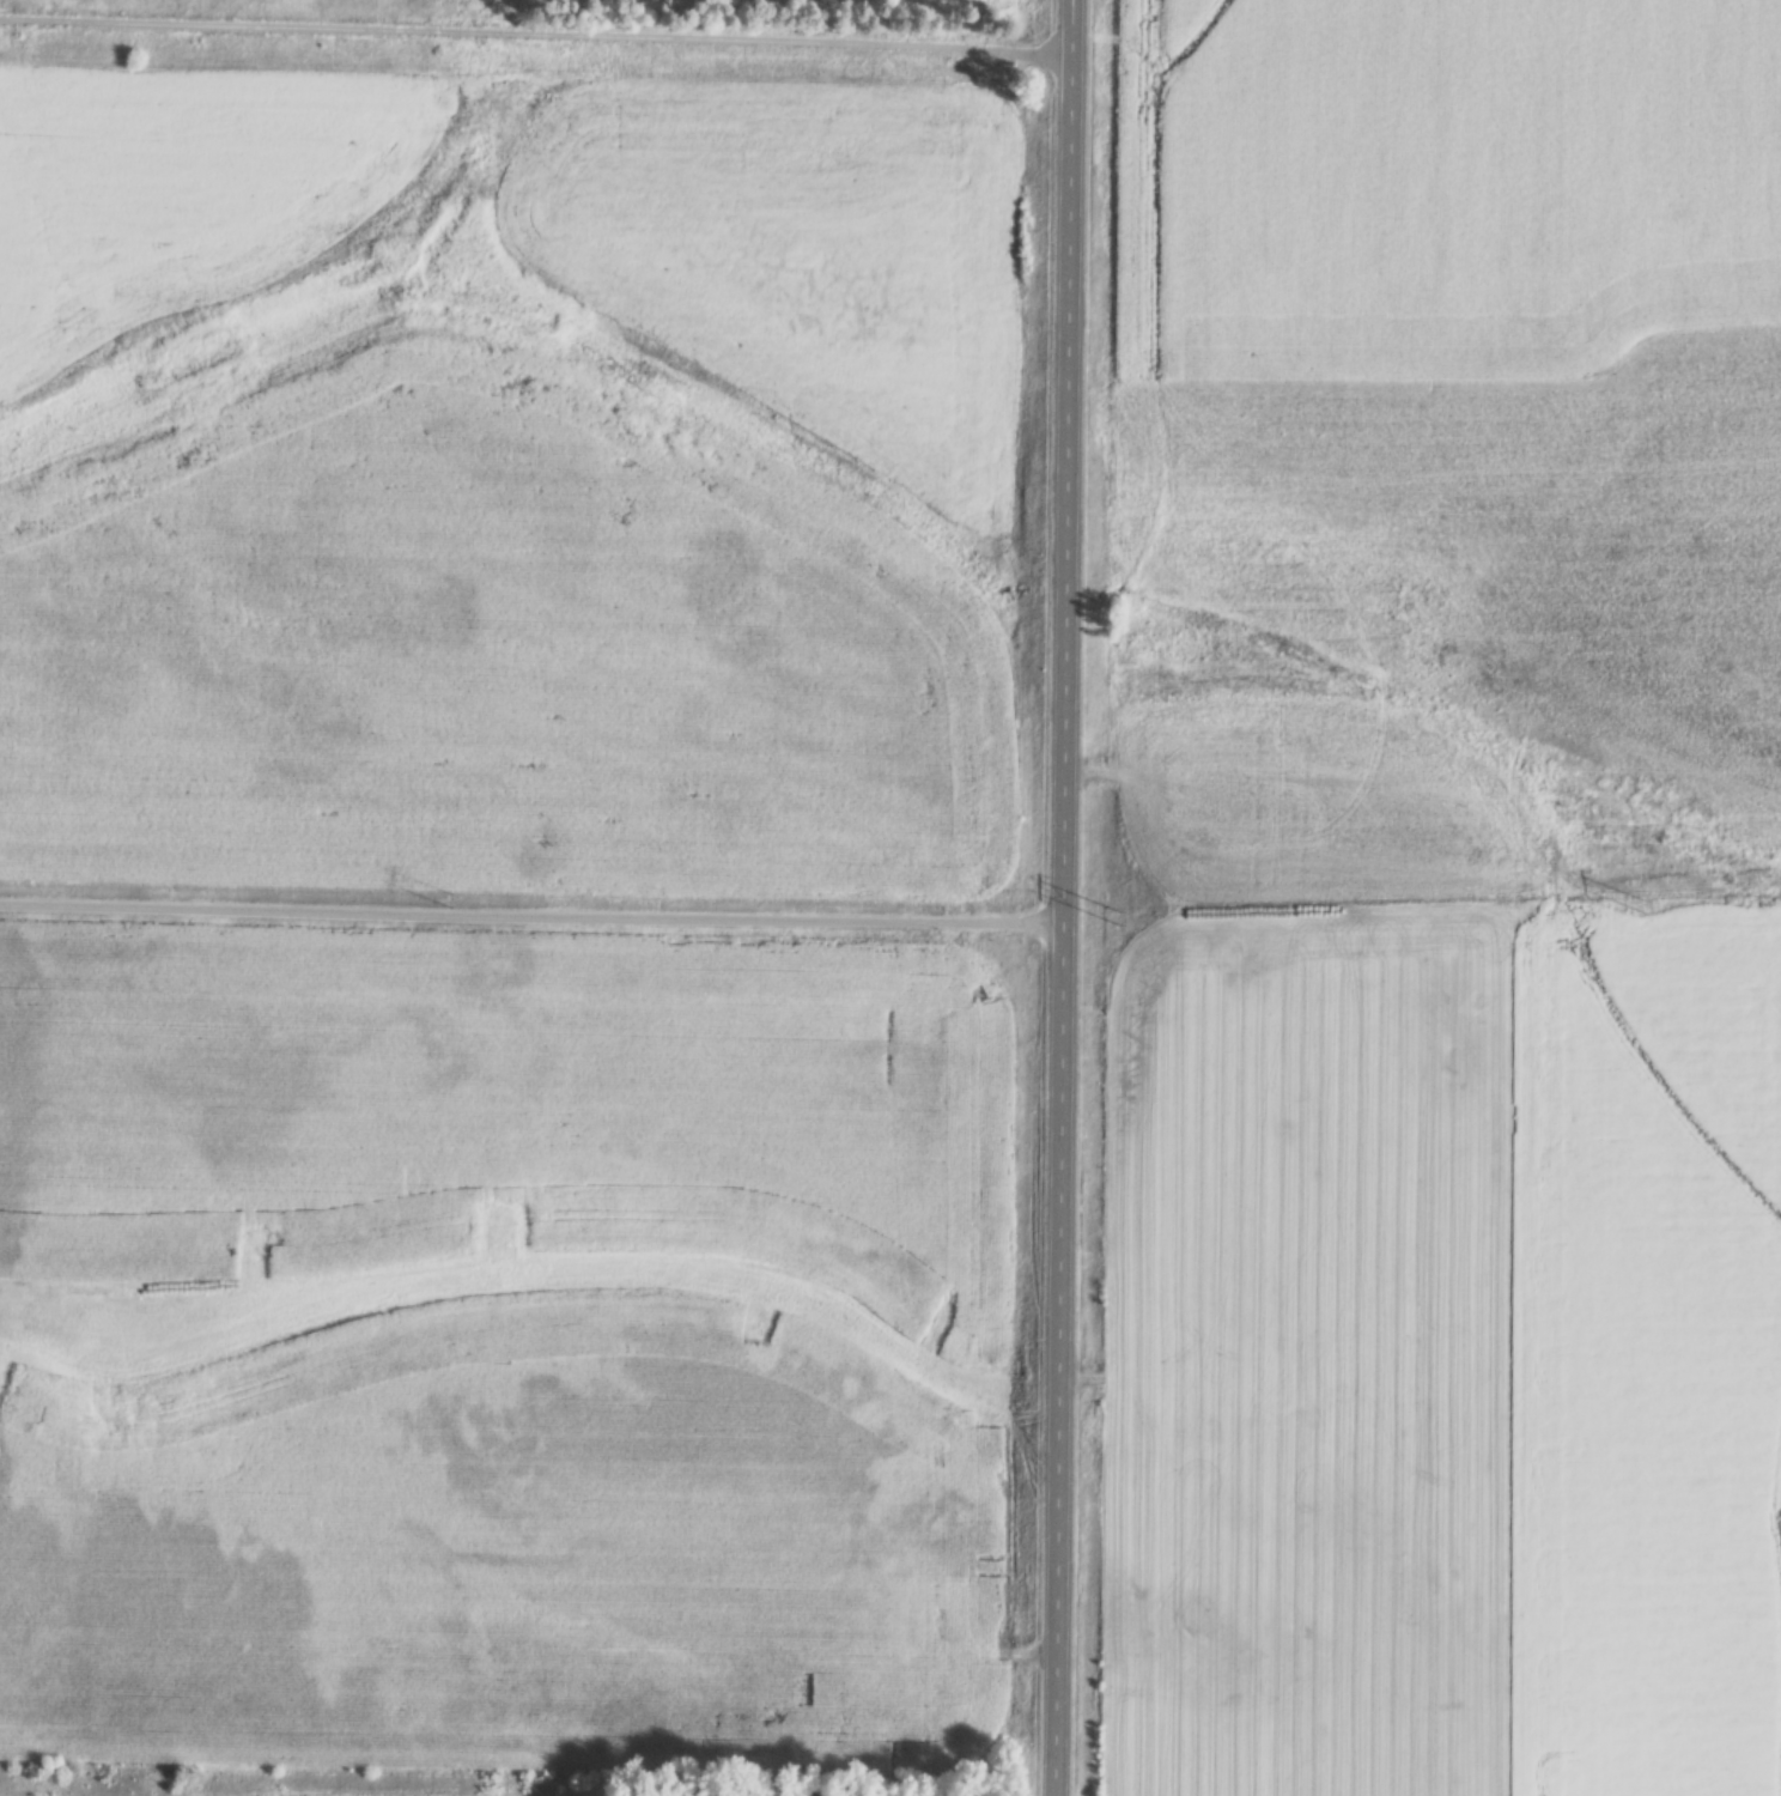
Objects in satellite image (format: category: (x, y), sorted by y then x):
road: (534, 36)
road: (1062, 898)
power tower: (448, 903)
power tower: (1645, 911)
power tower: (1119, 921)
building: (828, 1792)

